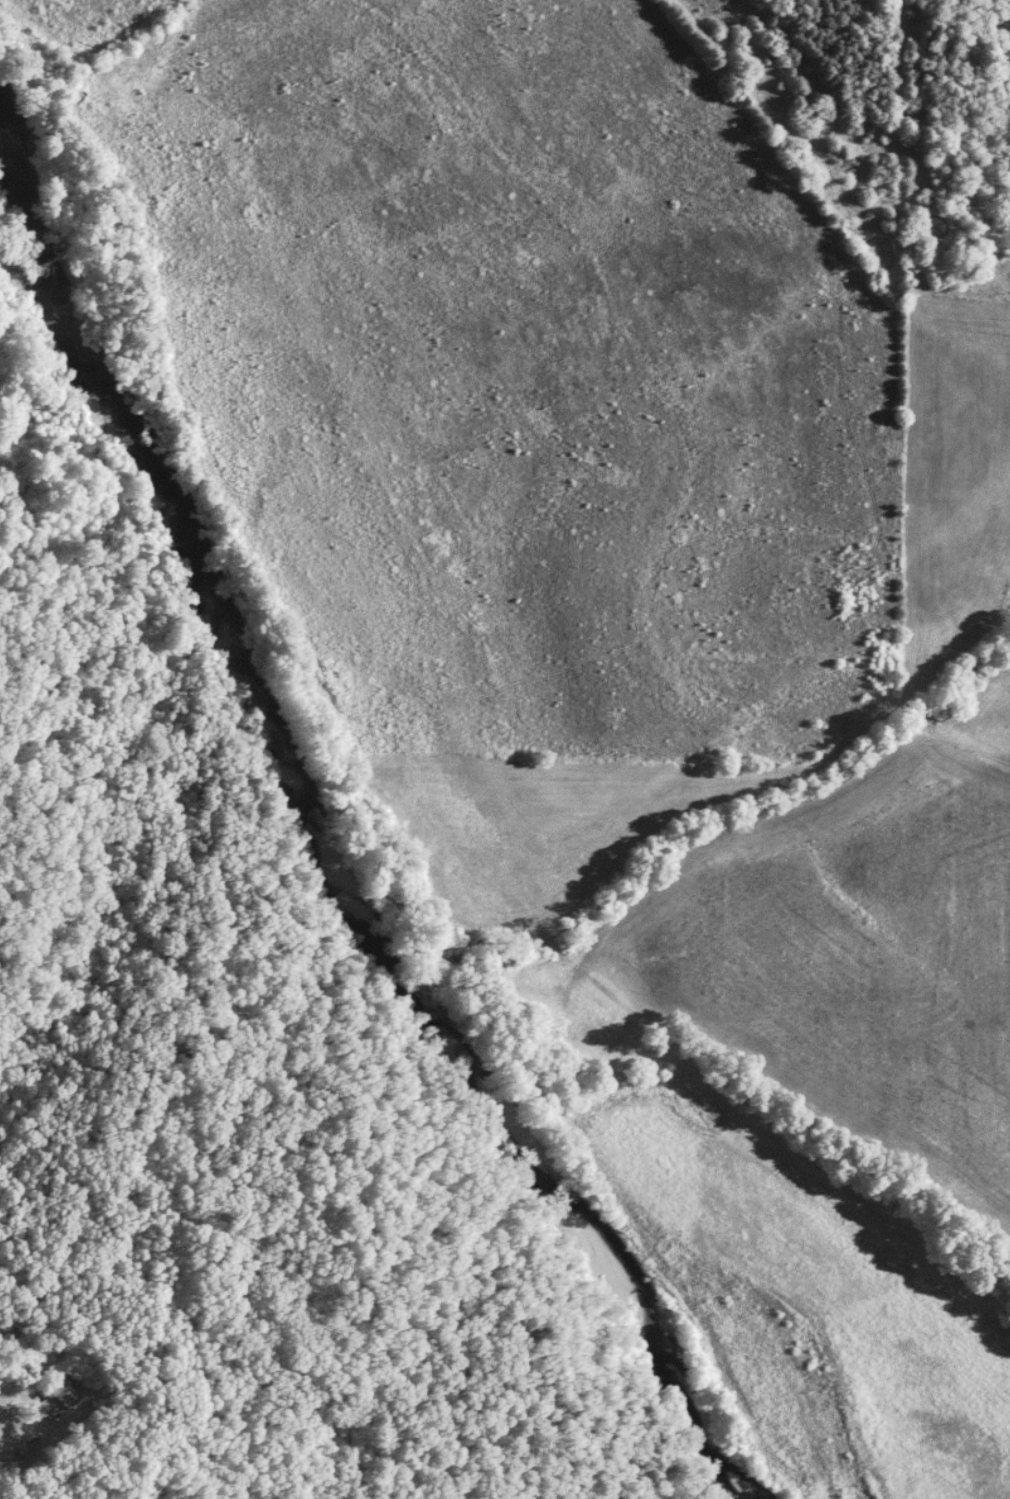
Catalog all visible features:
road: (23, 1444)

